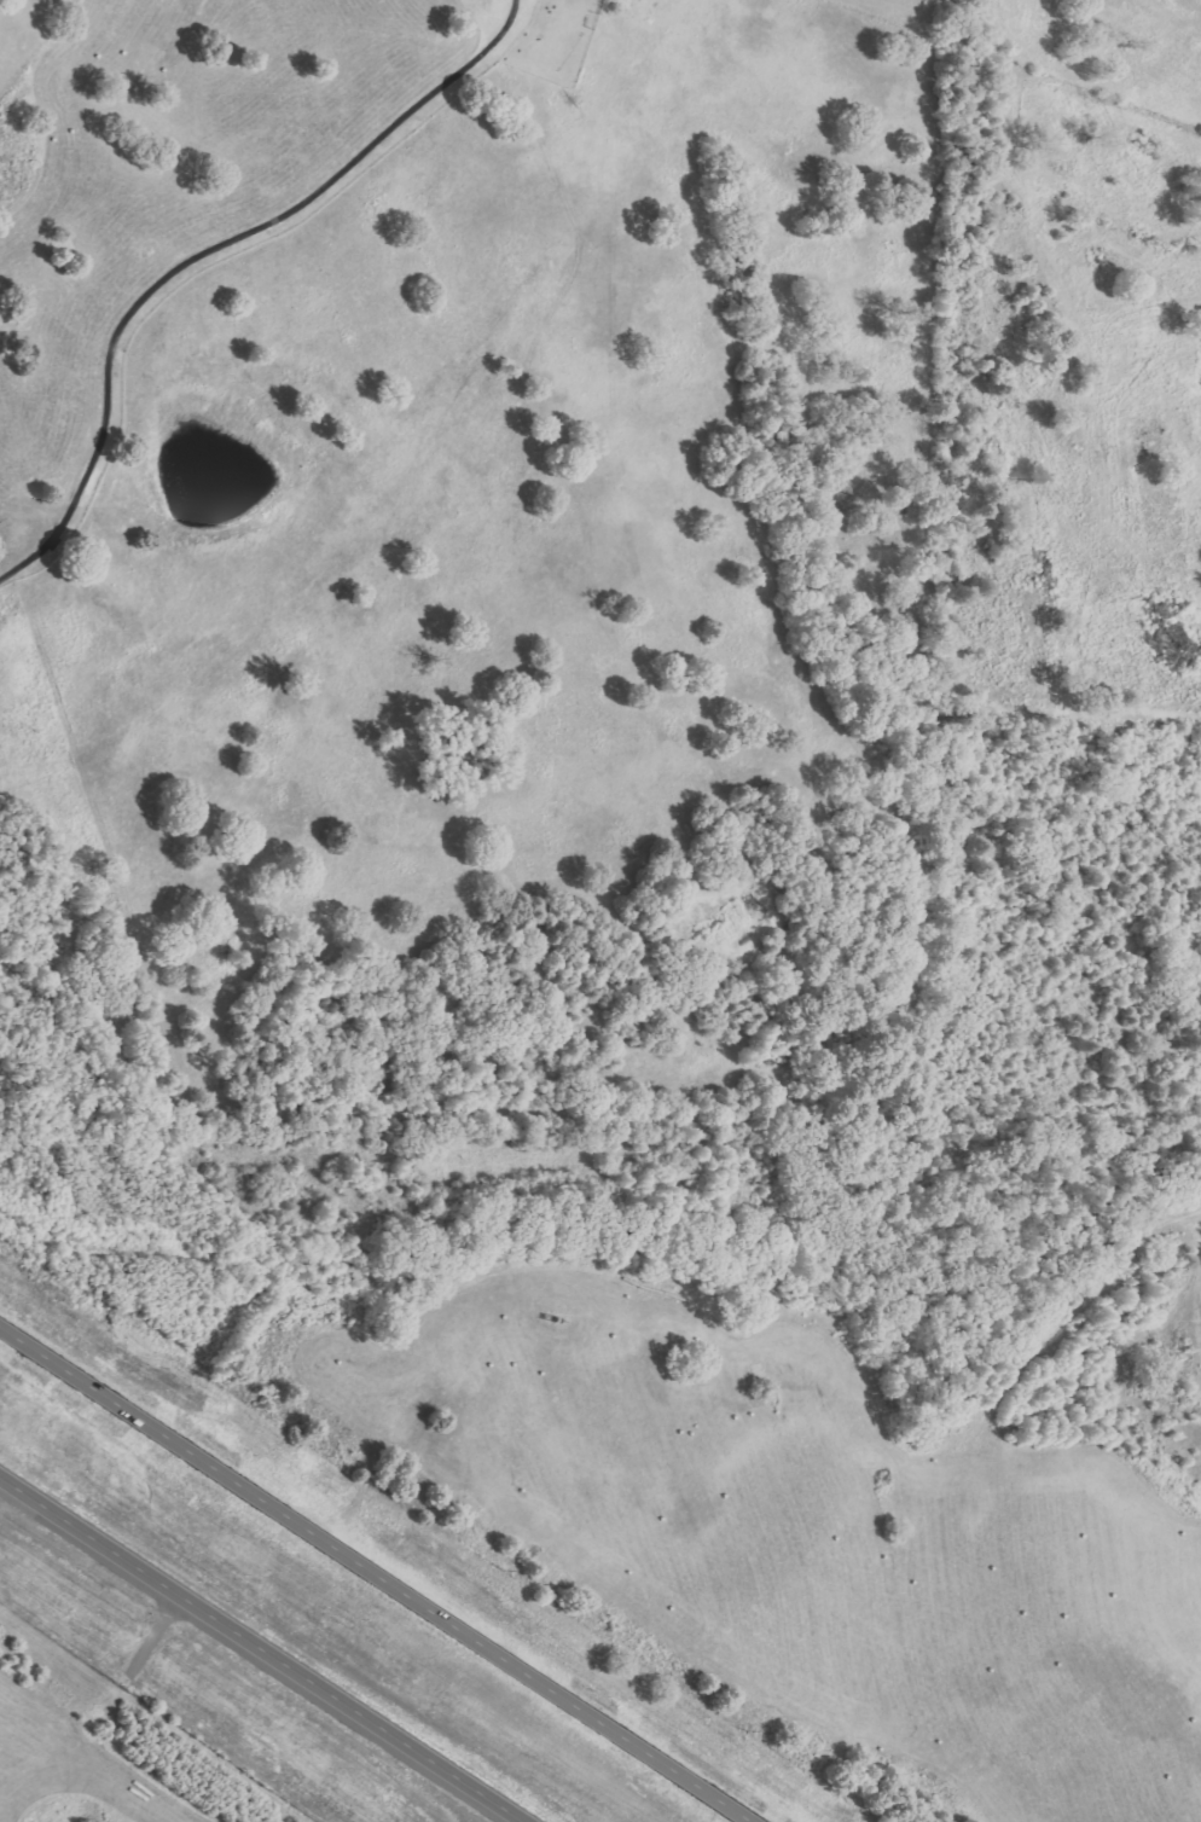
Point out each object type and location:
road: (375, 1574)
road: (259, 1650)

